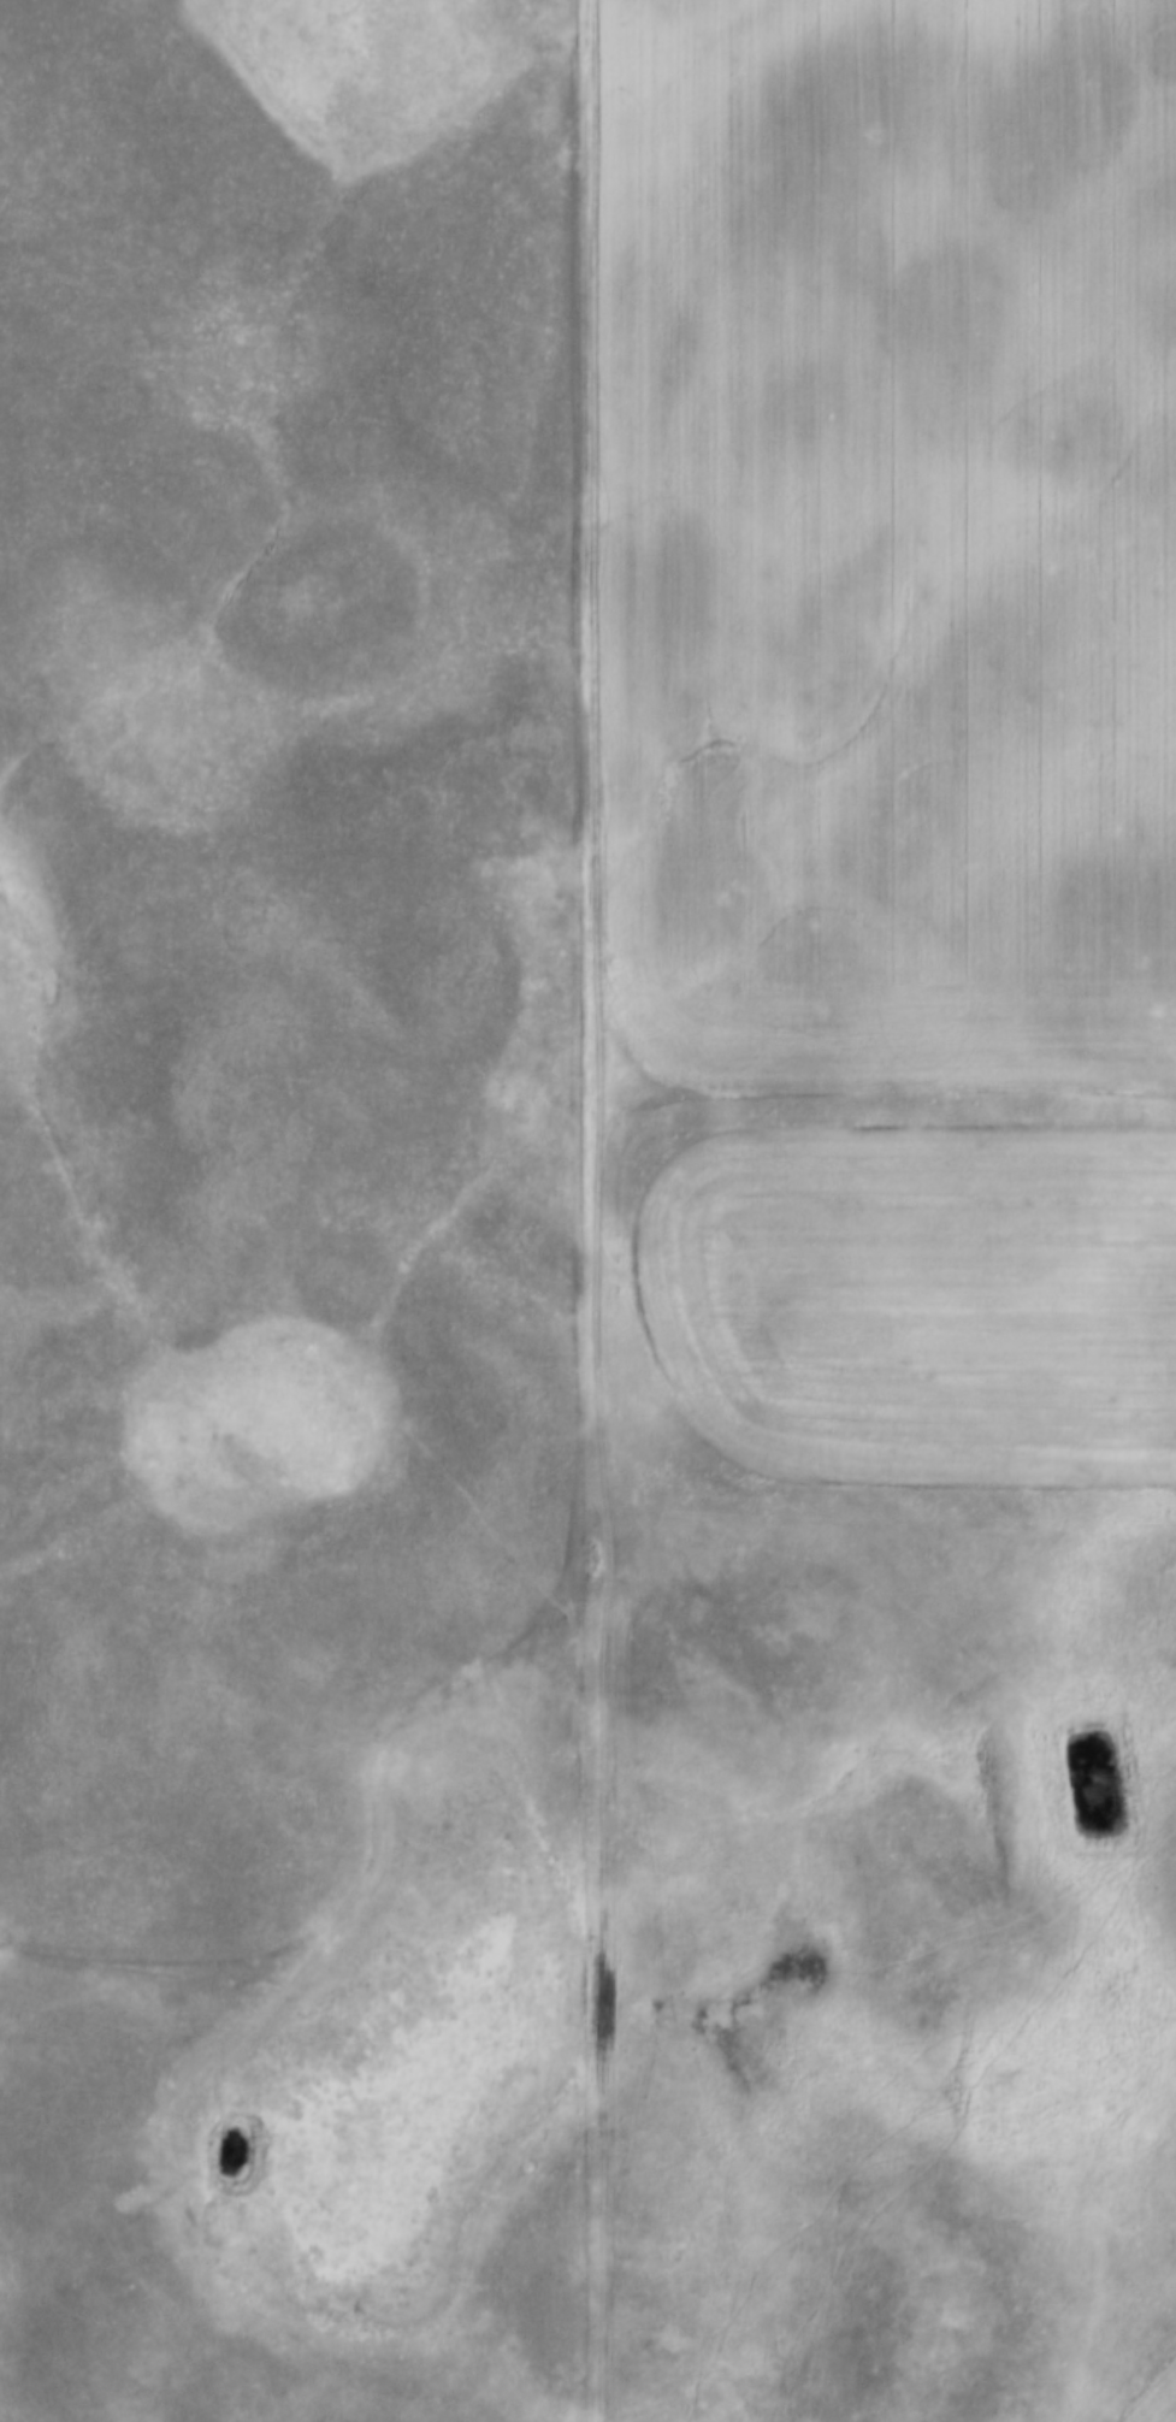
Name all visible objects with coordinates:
road: (599, 1211)

